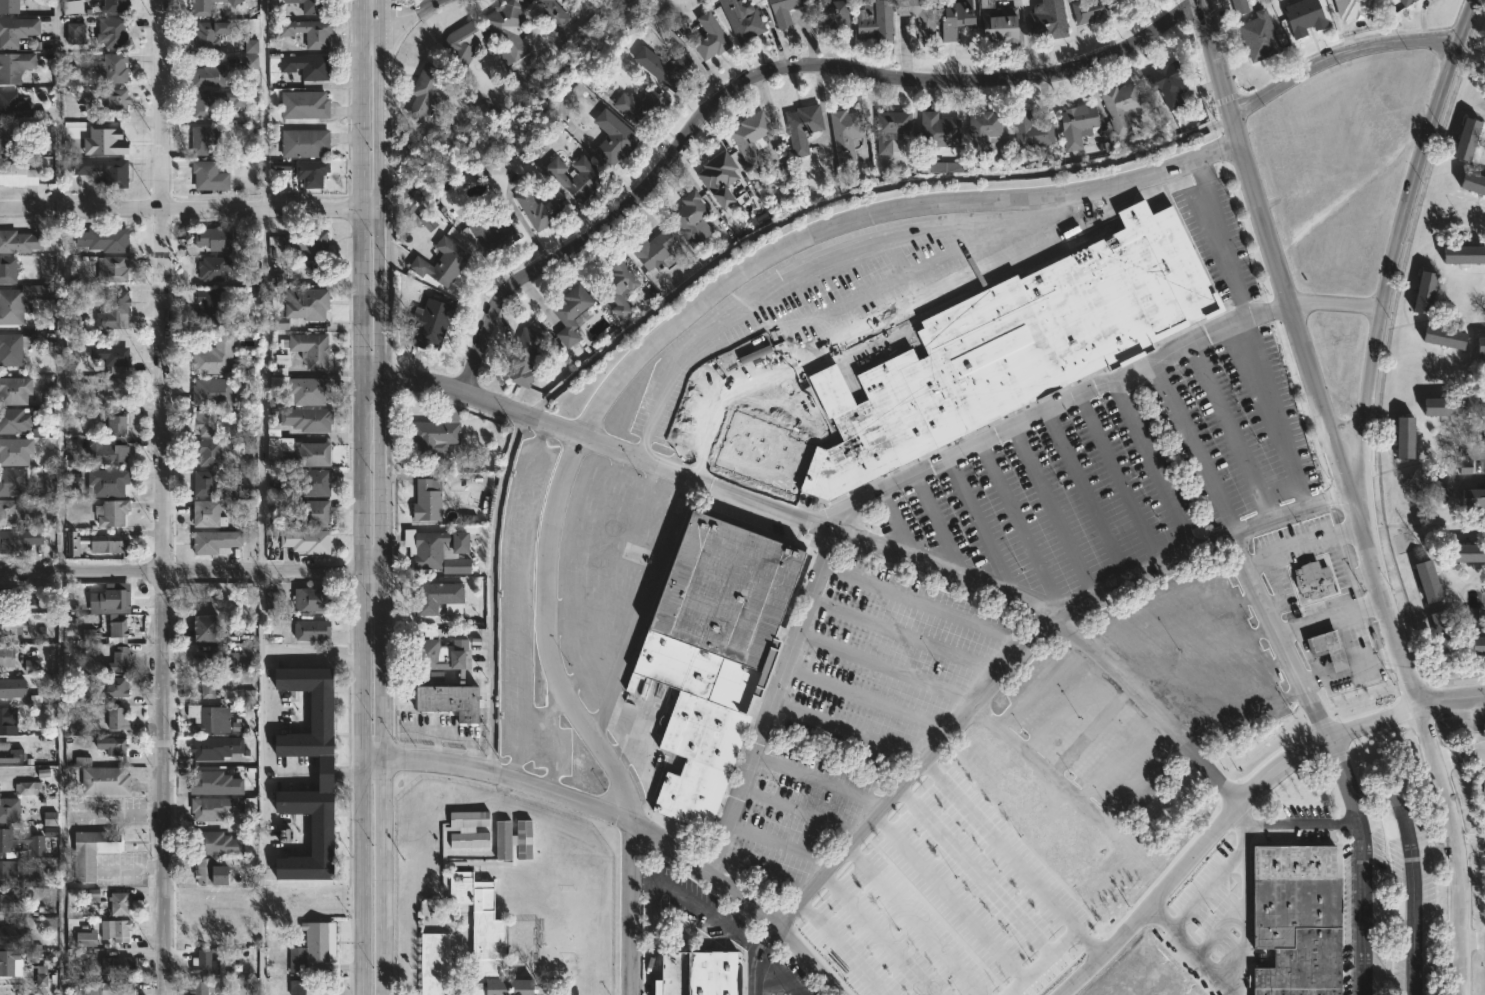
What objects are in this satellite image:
road: (1205, 1)
building: (1403, 2)
building: (117, 5)
building: (315, 6)
building: (10, 7)
building: (72, 7)
building: (209, 7)
building: (1237, 7)
building: (1351, 8)
building: (551, 11)
building: (781, 11)
building: (1086, 11)
building: (829, 14)
building: (916, 15)
building: (1301, 17)
road: (409, 19)
building: (872, 20)
building: (950, 20)
building: (738, 21)
building: (1044, 21)
building: (507, 27)
building: (997, 27)
building: (17, 31)
building: (114, 32)
building: (310, 32)
building: (75, 34)
building: (210, 34)
building: (705, 35)
building: (1256, 37)
building: (464, 43)
building: (250, 46)
road: (1337, 52)
building: (661, 65)
building: (307, 66)
building: (15, 67)
building: (116, 69)
road: (761, 71)
building: (210, 76)
building: (1166, 84)
building: (428, 89)
building: (107, 99)
building: (216, 102)
road: (56, 104)
road: (264, 104)
building: (306, 104)
road: (373, 104)
building: (14, 106)
building: (640, 106)
building: (1117, 107)
building: (1074, 125)
building: (799, 127)
building: (890, 128)
building: (935, 131)
building: (980, 133)
building: (1027, 133)
building: (841, 135)
building: (21, 136)
building: (612, 137)
building: (747, 138)
building: (1465, 138)
building: (206, 139)
building: (306, 143)
road: (1224, 148)
building: (946, 167)
building: (118, 173)
building: (313, 173)
building: (18, 175)
building: (211, 176)
building: (573, 176)
building: (717, 178)
building: (1472, 183)
road: (848, 195)
road: (186, 209)
building: (539, 209)
building: (688, 219)
building: (496, 231)
road: (1221, 238)
road: (1396, 239)
building: (105, 240)
building: (217, 240)
building: (20, 242)
building: (311, 245)
building: (650, 249)
building: (1462, 254)
building: (442, 263)
road: (812, 264)
building: (116, 269)
building: (215, 269)
building: (9, 270)
building: (618, 287)
building: (1420, 294)
building: (21, 302)
building: (208, 306)
building: (305, 307)
building: (116, 311)
road: (890, 312)
building: (570, 313)
building: (433, 325)
building: (1444, 337)
building: (1480, 345)
building: (13, 349)
building: (310, 349)
road: (1302, 354)
building: (525, 356)
building: (216, 357)
building: (113, 358)
building: (985, 358)
road: (713, 370)
road: (618, 382)
road: (60, 389)
building: (116, 389)
road: (262, 389)
building: (16, 391)
building: (309, 391)
building: (214, 393)
building: (1440, 408)
building: (1480, 408)
road: (1271, 413)
road: (692, 418)
building: (16, 419)
building: (304, 421)
building: (207, 423)
building: (118, 424)
building: (479, 430)
road: (1227, 431)
building: (438, 434)
building: (1402, 439)
road: (1190, 446)
road: (1480, 450)
building: (16, 452)
building: (211, 452)
building: (299, 454)
building: (119, 455)
road: (1150, 464)
road: (932, 467)
road: (1117, 479)
road: (374, 482)
building: (13, 483)
building: (109, 483)
building: (317, 483)
building: (214, 485)
building: (1426, 487)
road: (1084, 494)
road: (162, 497)
building: (1471, 498)
building: (429, 499)
road: (1050, 511)
building: (11, 513)
building: (112, 513)
building: (318, 513)
building: (209, 515)
road: (901, 525)
road: (1021, 526)
road: (939, 527)
road: (839, 528)
road: (981, 530)
road: (587, 532)
building: (308, 540)
building: (19, 541)
building: (95, 543)
building: (216, 543)
road: (1301, 544)
building: (440, 549)
building: (1463, 555)
road: (1138, 570)
road: (186, 571)
road: (1251, 576)
road: (611, 578)
building: (1309, 579)
building: (1423, 581)
road: (1275, 585)
building: (438, 596)
building: (18, 597)
building: (116, 598)
building: (314, 598)
building: (272, 600)
road: (516, 601)
road: (640, 603)
road: (922, 604)
road: (1330, 616)
road: (570, 619)
building: (10, 624)
building: (207, 628)
building: (1440, 629)
building: (312, 630)
building: (118, 632)
road: (903, 638)
building: (1477, 645)
building: (1324, 648)
building: (712, 654)
road: (1306, 654)
building: (7, 656)
road: (317, 657)
building: (441, 657)
building: (220, 660)
building: (118, 661)
building: (31, 666)
road: (885, 667)
road: (1351, 670)
building: (118, 687)
building: (209, 687)
building: (9, 688)
road: (592, 688)
building: (247, 696)
road: (867, 699)
road: (1453, 699)
building: (453, 700)
building: (118, 717)
building: (212, 717)
building: (8, 720)
road: (847, 732)
road: (551, 739)
building: (112, 746)
building: (217, 747)
building: (11, 753)
road: (1460, 753)
road: (317, 770)
road: (1045, 770)
road: (915, 771)
building: (324, 772)
building: (103, 780)
road: (1342, 780)
road: (818, 782)
building: (217, 783)
road: (260, 783)
building: (1481, 787)
building: (26, 788)
road: (1379, 794)
building: (217, 807)
building: (10, 810)
road: (800, 812)
building: (472, 818)
road: (1219, 819)
road: (1289, 825)
road: (637, 826)
building: (467, 840)
building: (513, 841)
building: (27, 842)
road: (1468, 842)
building: (220, 843)
road: (781, 845)
road: (1453, 847)
building: (91, 851)
building: (206, 871)
road: (974, 871)
building: (9, 873)
road: (374, 876)
road: (763, 876)
road: (1031, 882)
road: (1207, 887)
building: (92, 895)
road: (948, 897)
road: (1413, 901)
building: (7, 902)
building: (121, 903)
road: (1363, 909)
building: (1398, 912)
building: (1296, 919)
road: (715, 920)
road: (915, 921)
building: (116, 929)
road: (1219, 931)
building: (14, 933)
road: (878, 935)
road: (769, 937)
road: (1471, 937)
building: (88, 938)
building: (486, 938)
road: (1088, 943)
building: (316, 945)
road: (840, 948)
road: (1241, 953)
building: (433, 960)
building: (11, 963)
building: (204, 963)
building: (119, 964)
building: (697, 973)
road: (779, 973)
building: (41, 980)
building: (203, 987)
building: (296, 987)
building: (111, 988)

